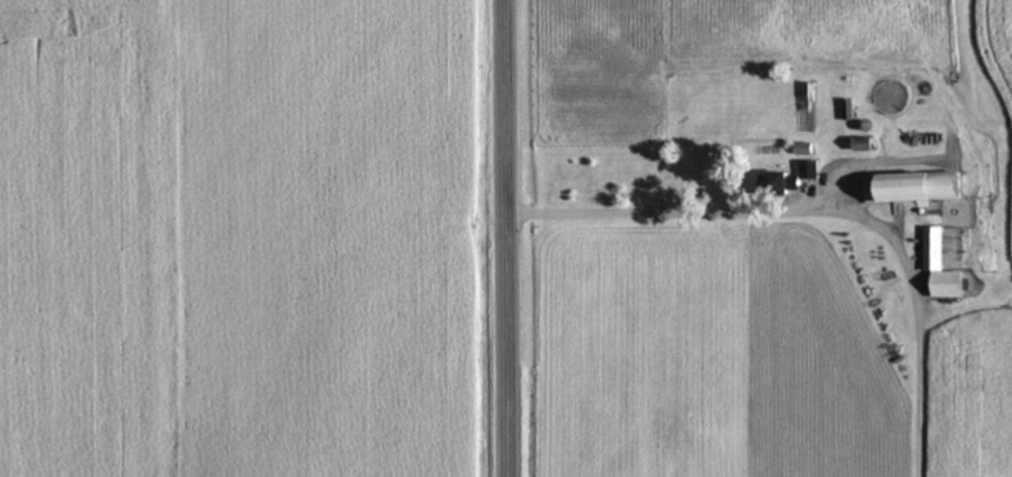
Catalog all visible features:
building: (849, 111)
building: (865, 145)
building: (796, 179)
building: (916, 189)
road: (825, 208)
road: (505, 238)
building: (942, 267)

